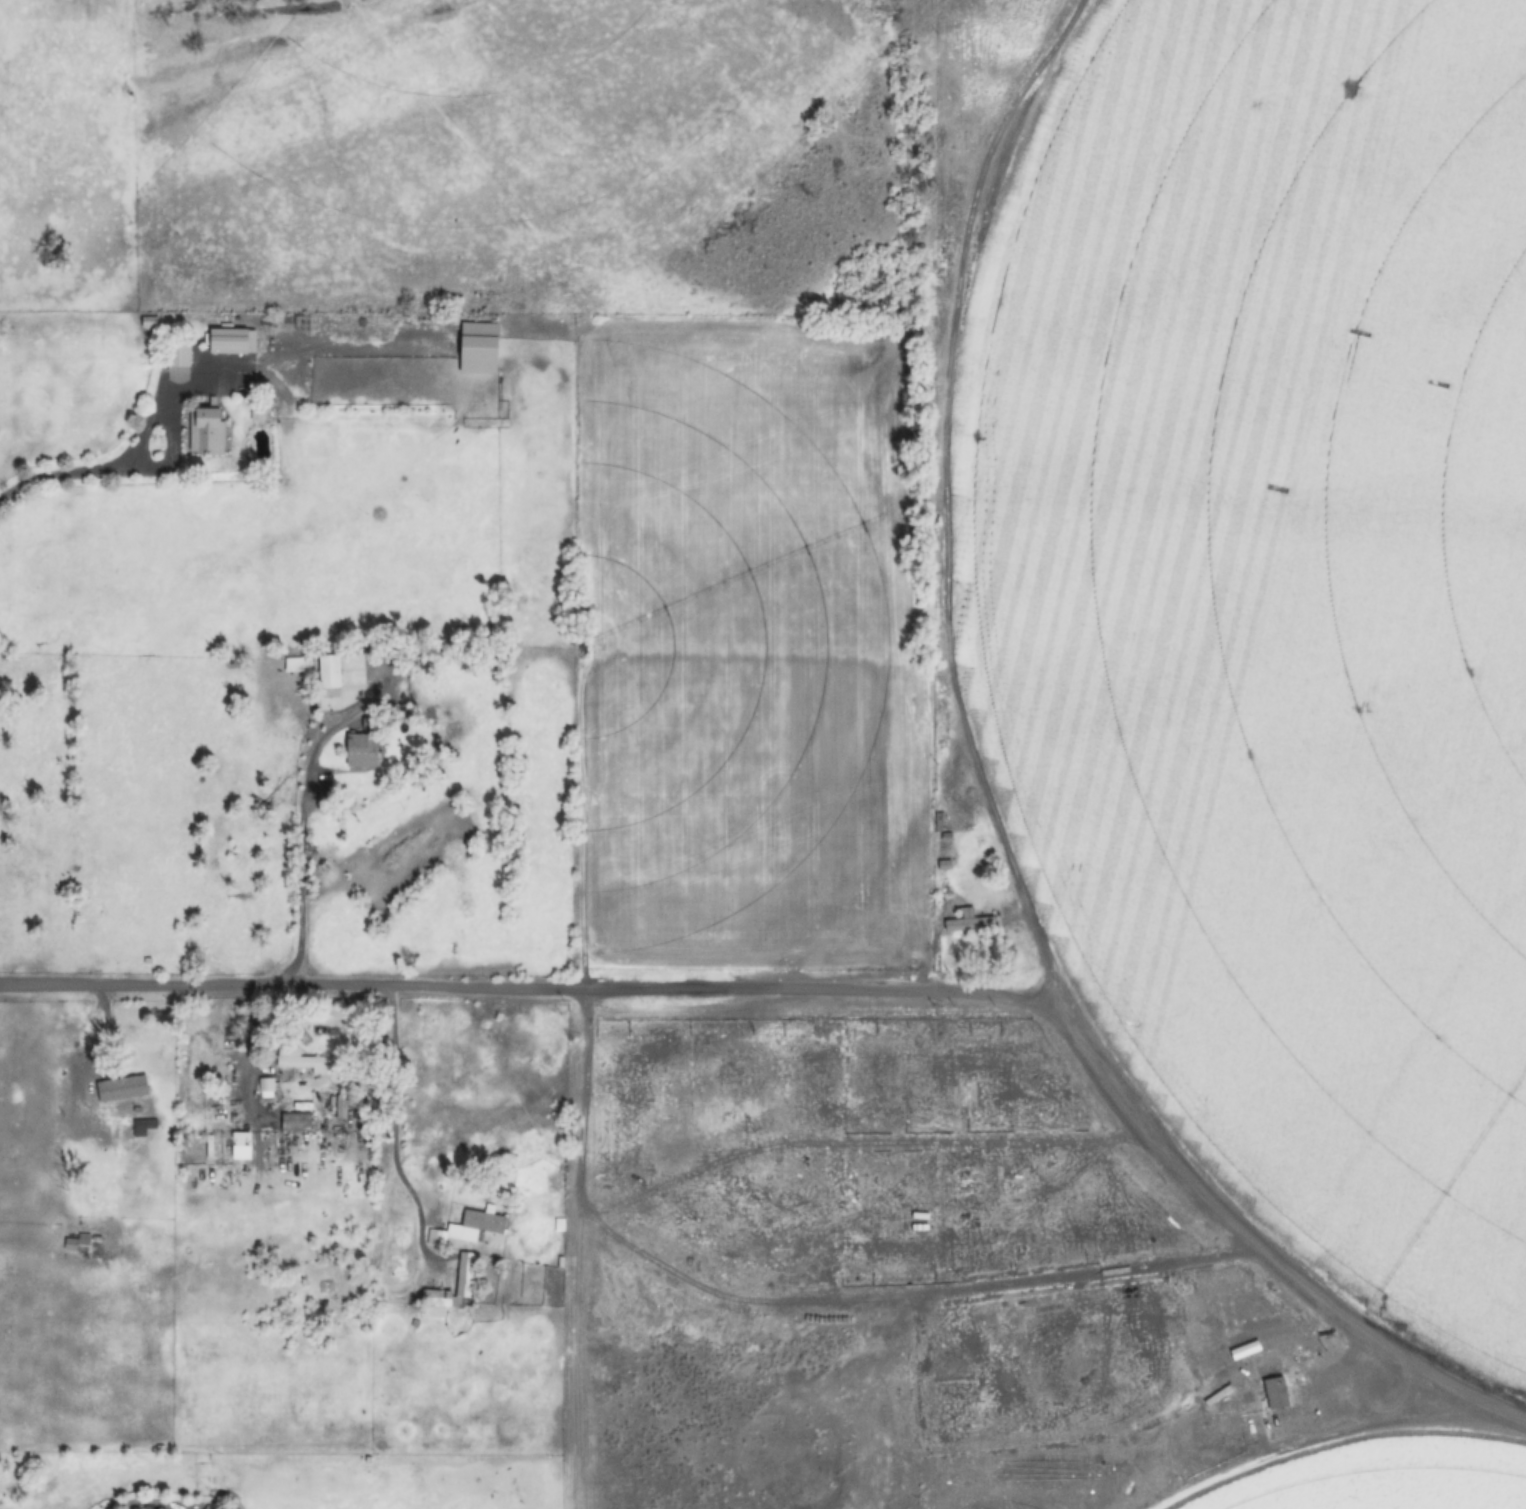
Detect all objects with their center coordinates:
building: (228, 340)
building: (477, 347)
building: (177, 353)
building: (204, 430)
building: (4, 500)
crop: (1276, 611)
building: (295, 665)
building: (328, 673)
building: (361, 751)
building: (939, 833)
crop: (406, 845)
building: (966, 921)
road: (512, 990)
building: (303, 1066)
building: (261, 1087)
building: (121, 1088)
building: (272, 1106)
building: (473, 1225)
building: (432, 1236)
road: (1250, 1237)
building: (75, 1243)
building: (463, 1274)
building: (434, 1301)
building: (1274, 1393)

